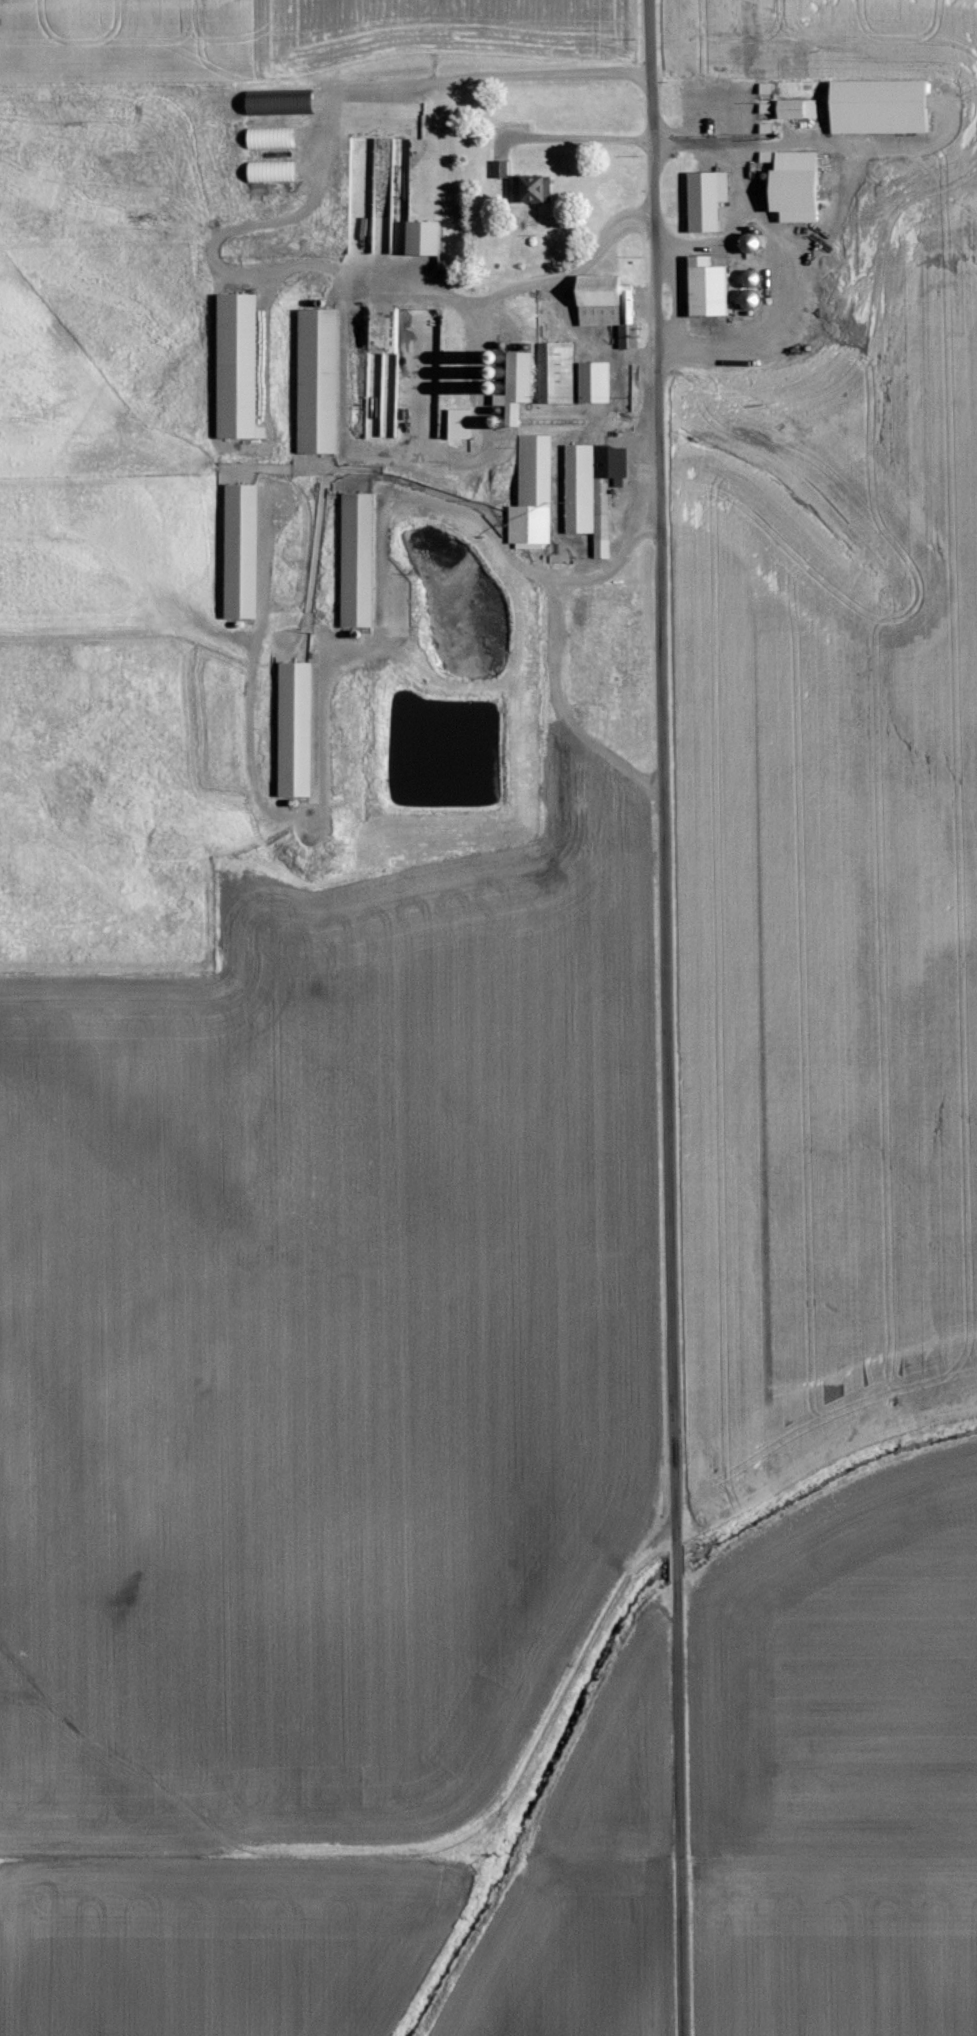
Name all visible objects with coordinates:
building: (280, 105)
building: (880, 108)
building: (798, 110)
road: (578, 136)
building: (272, 138)
building: (500, 169)
building: (273, 172)
building: (796, 188)
building: (532, 190)
road: (312, 194)
building: (707, 202)
road: (837, 218)
road: (737, 227)
road: (772, 232)
building: (424, 239)
building: (708, 289)
building: (609, 306)
road: (484, 347)
building: (238, 367)
building: (556, 372)
building: (318, 381)
building: (595, 382)
building: (516, 384)
building: (460, 423)
building: (593, 491)
building: (533, 494)
road: (434, 500)
building: (242, 551)
building: (358, 560)
road: (555, 643)
building: (296, 729)
road: (664, 1018)

